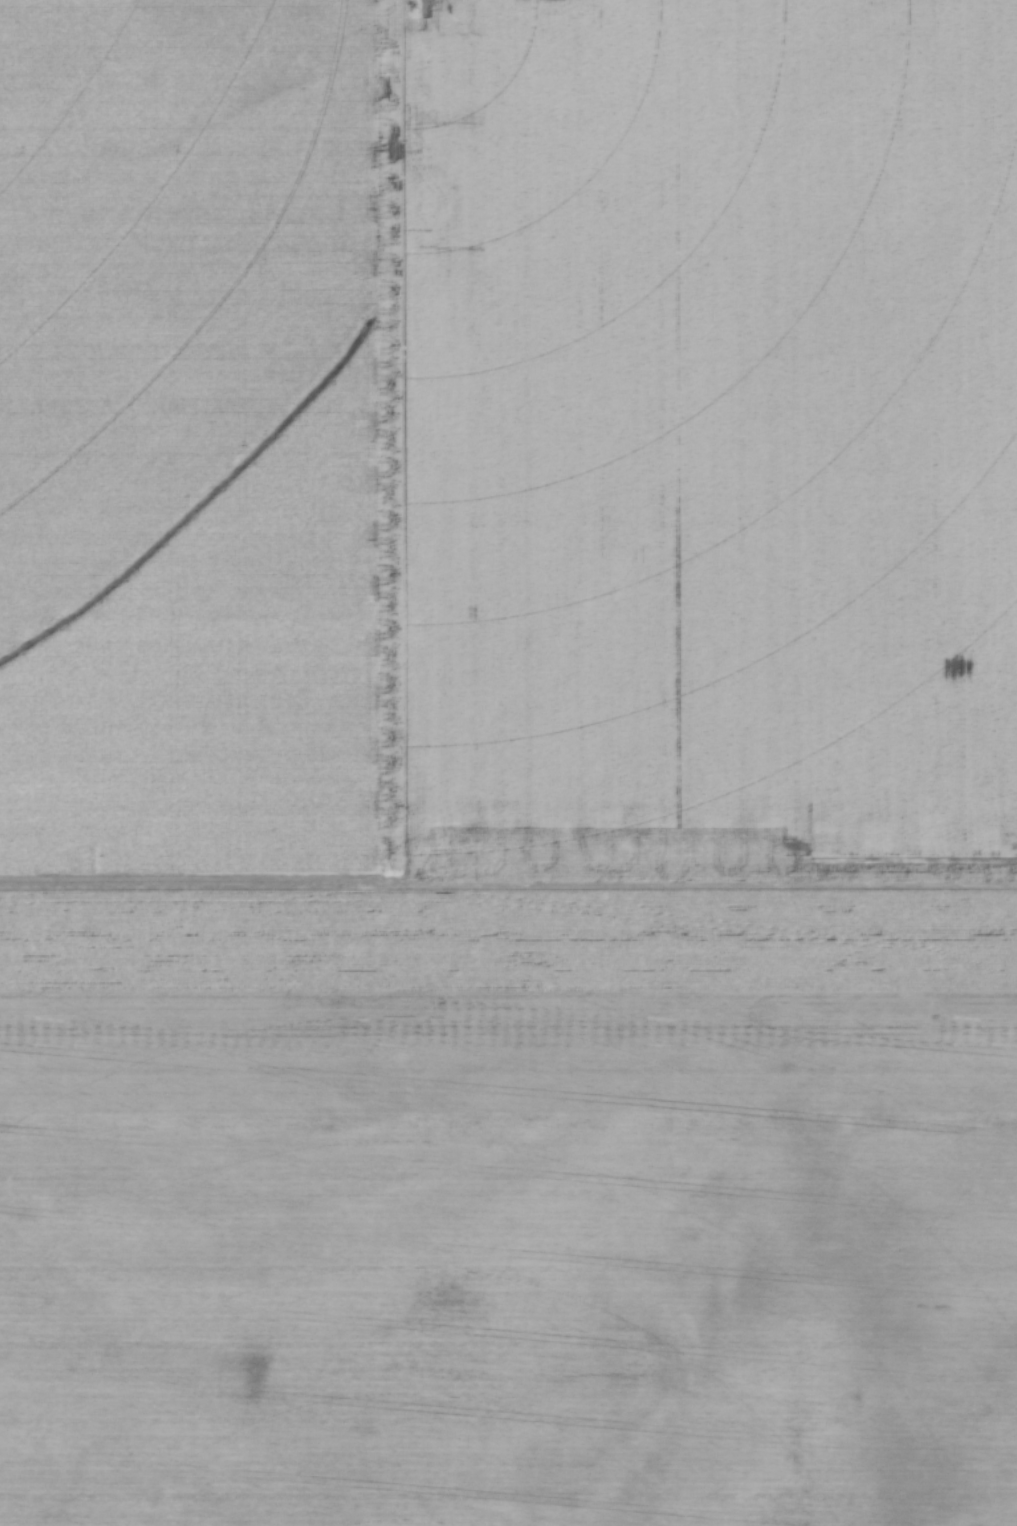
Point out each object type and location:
crop: (709, 433)

